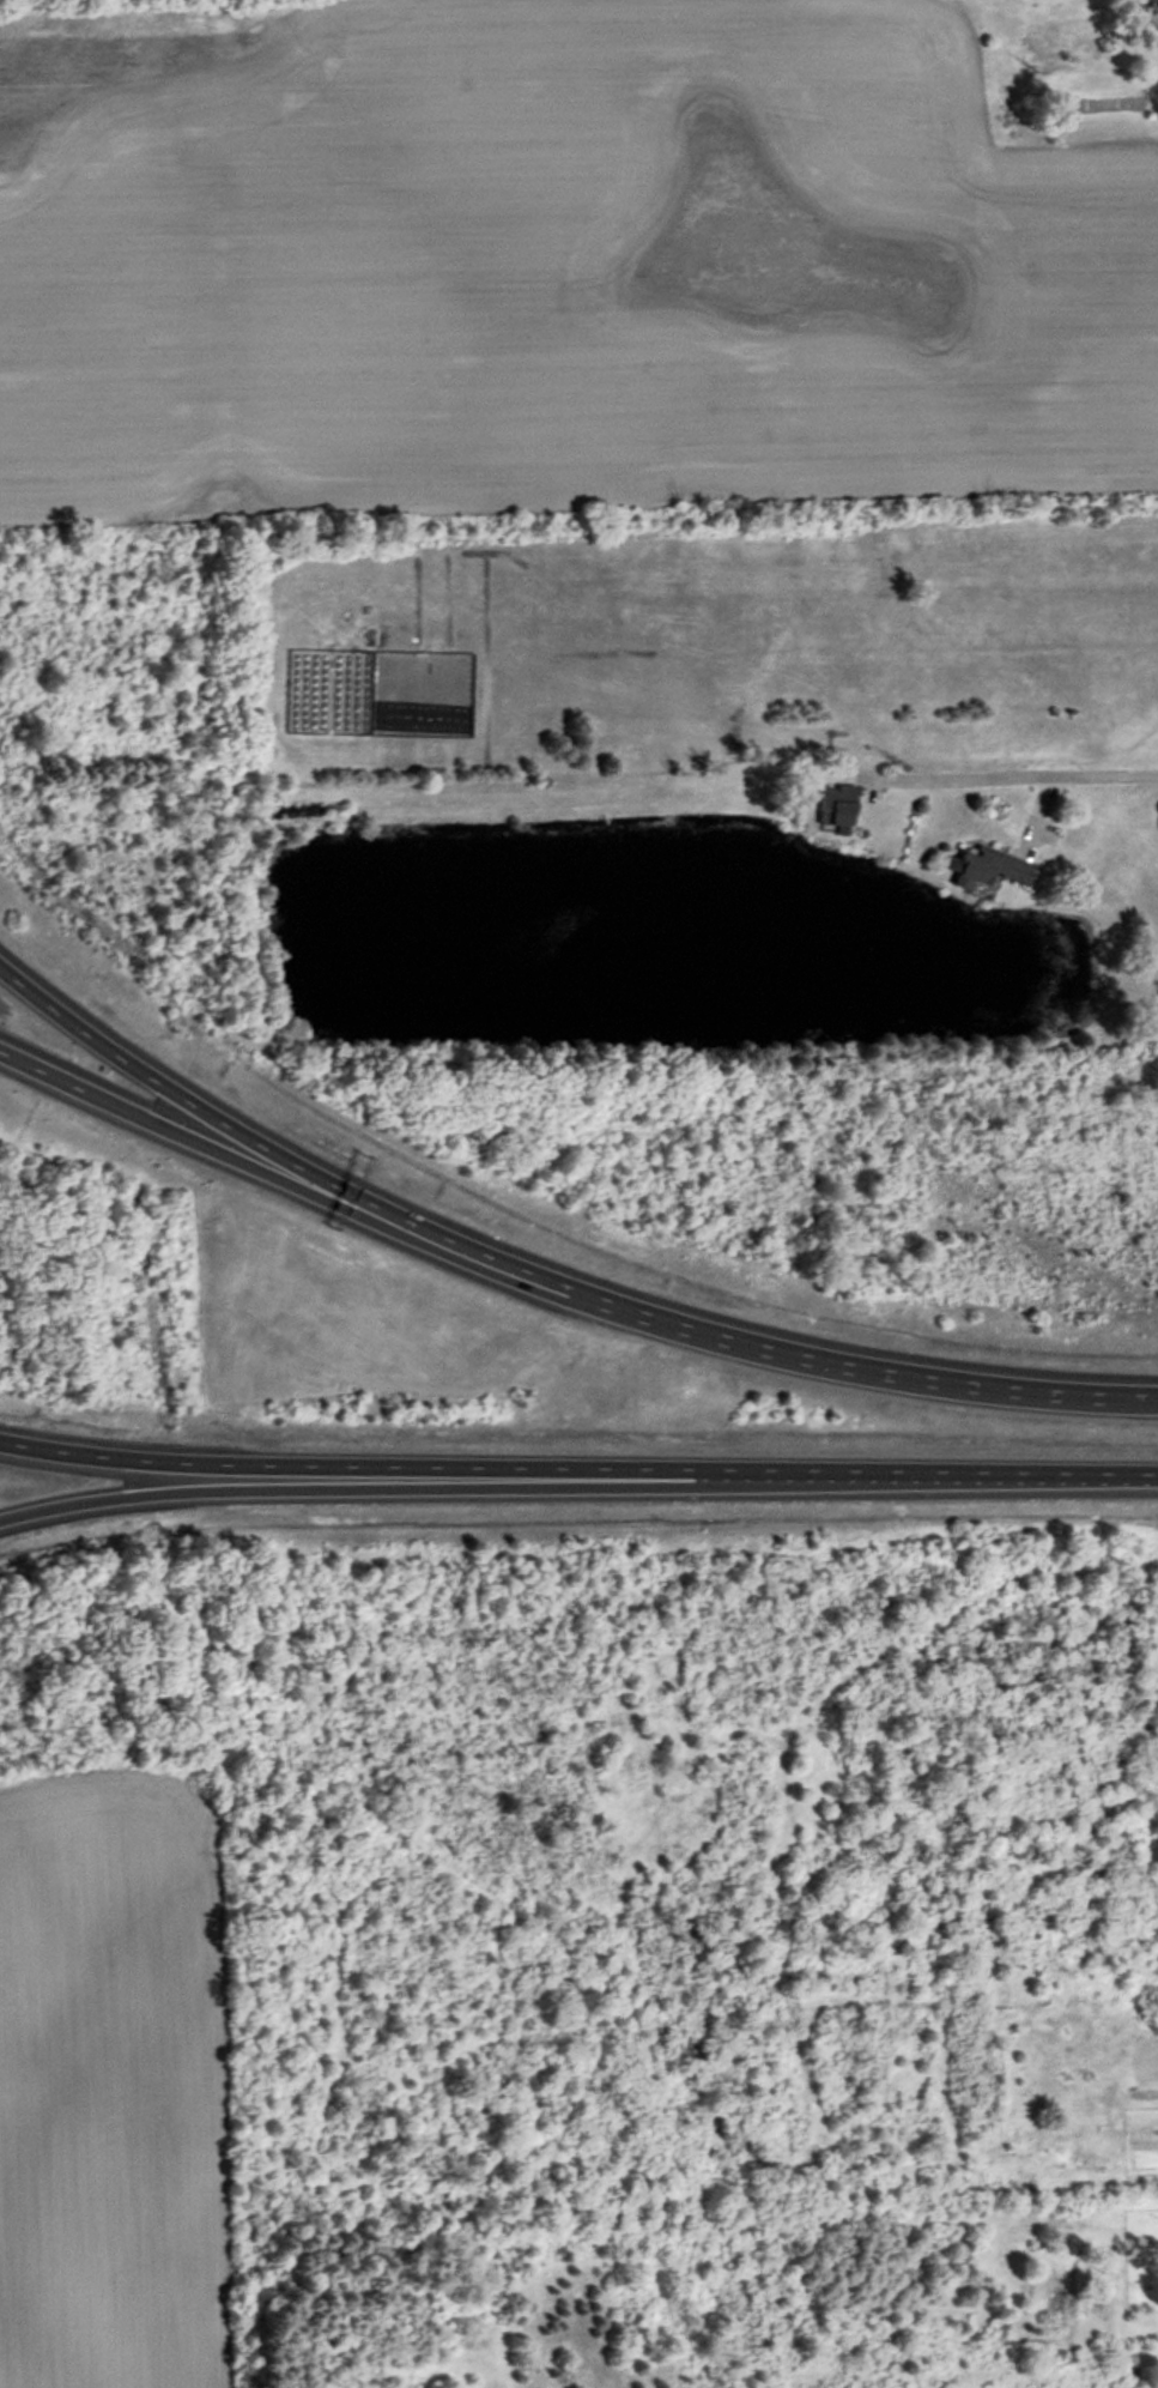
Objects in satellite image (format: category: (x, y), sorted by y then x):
road: (999, 776)
building: (837, 806)
building: (988, 870)
road: (60, 1081)
road: (278, 1155)
road: (347, 1210)
road: (866, 1368)
road: (481, 1467)
road: (1061, 1471)
road: (480, 1480)

